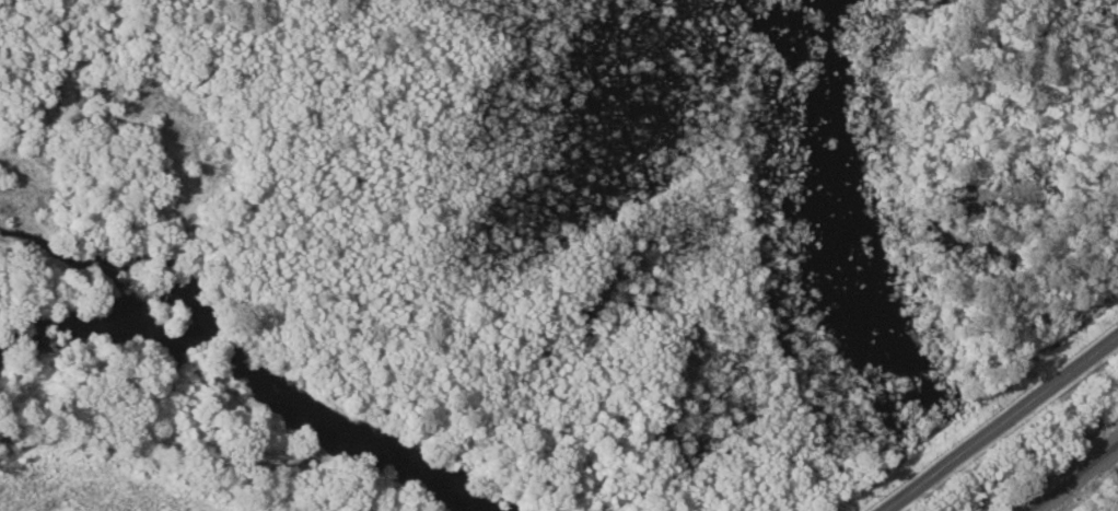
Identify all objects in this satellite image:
river: (247, 374)
road: (998, 421)
railway: (1072, 476)

